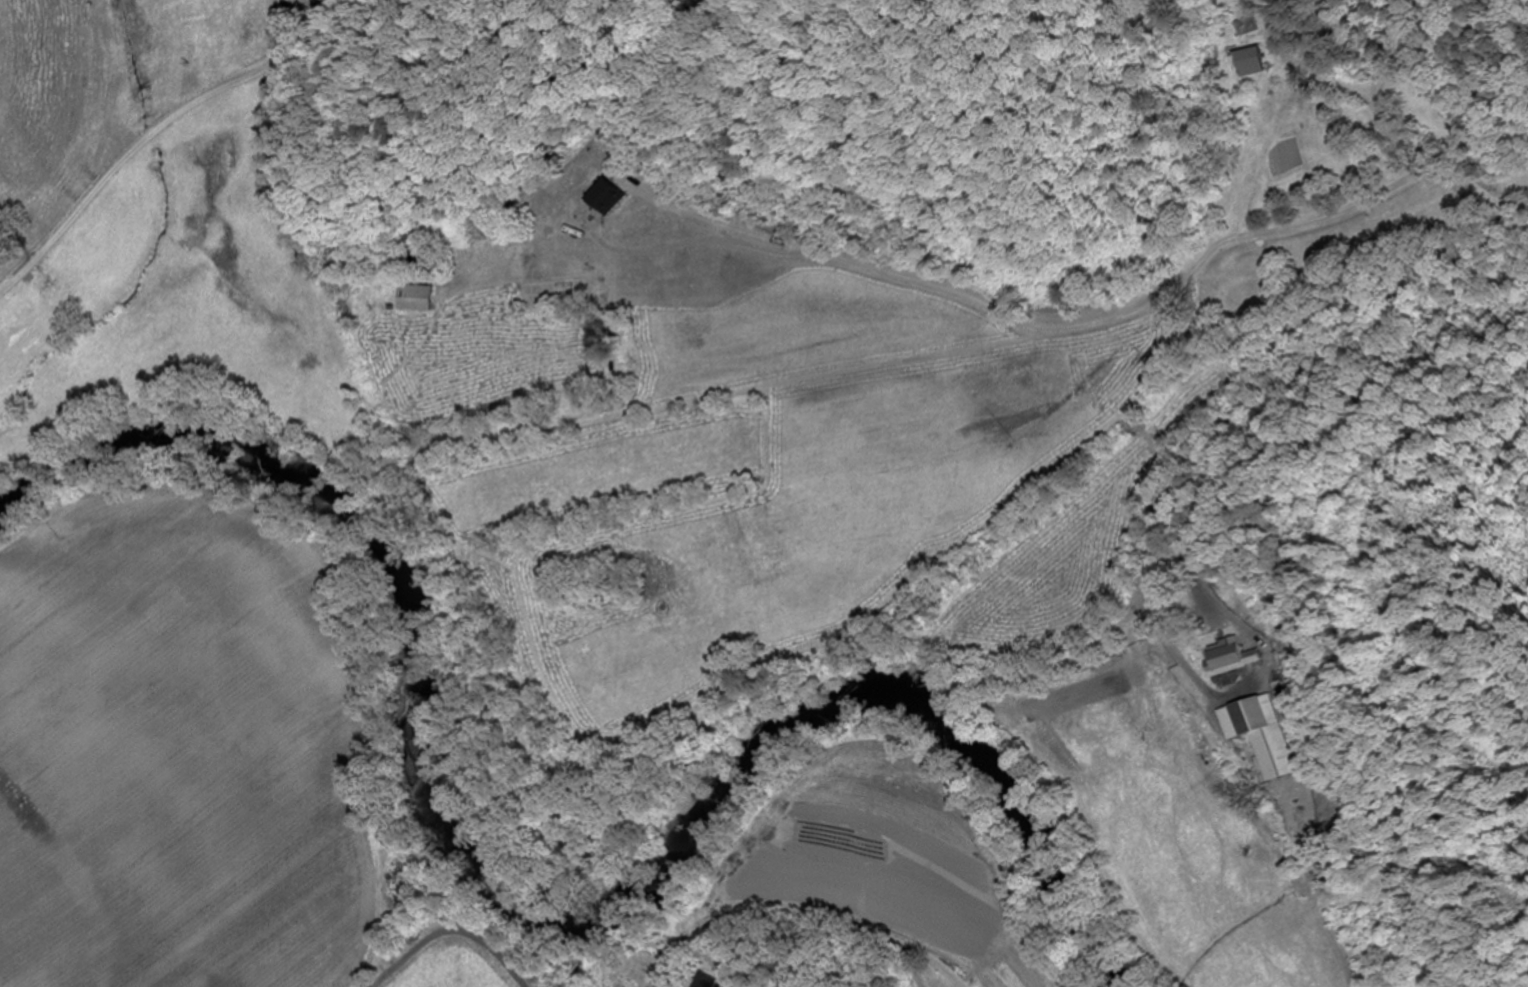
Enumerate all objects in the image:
building: (253, 9)
road: (145, 139)
building: (412, 299)
road: (814, 647)
building: (1220, 657)
road: (714, 711)
building: (1256, 734)
road: (450, 932)
building: (704, 981)

